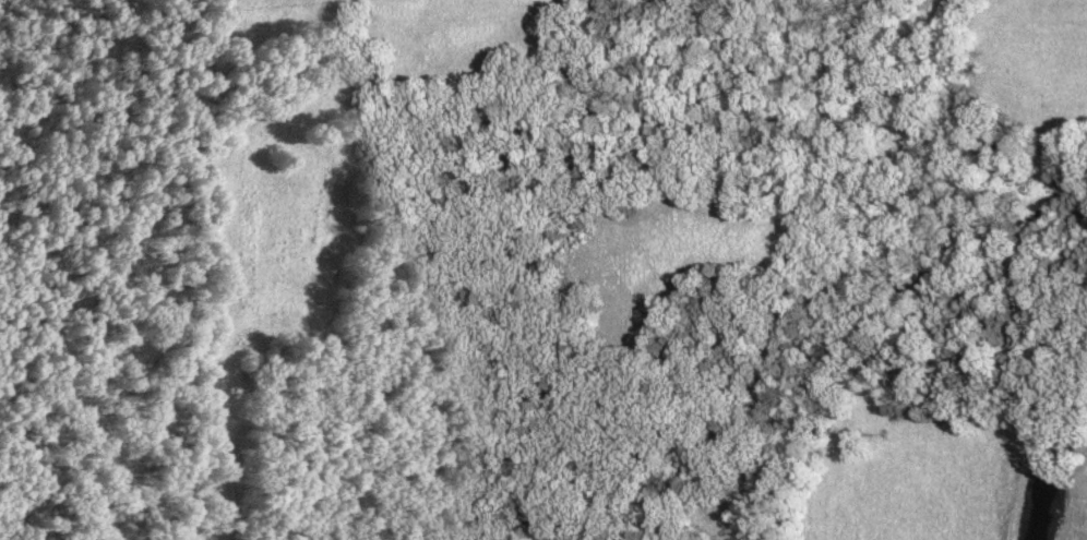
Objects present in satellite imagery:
building: (850, 83)

